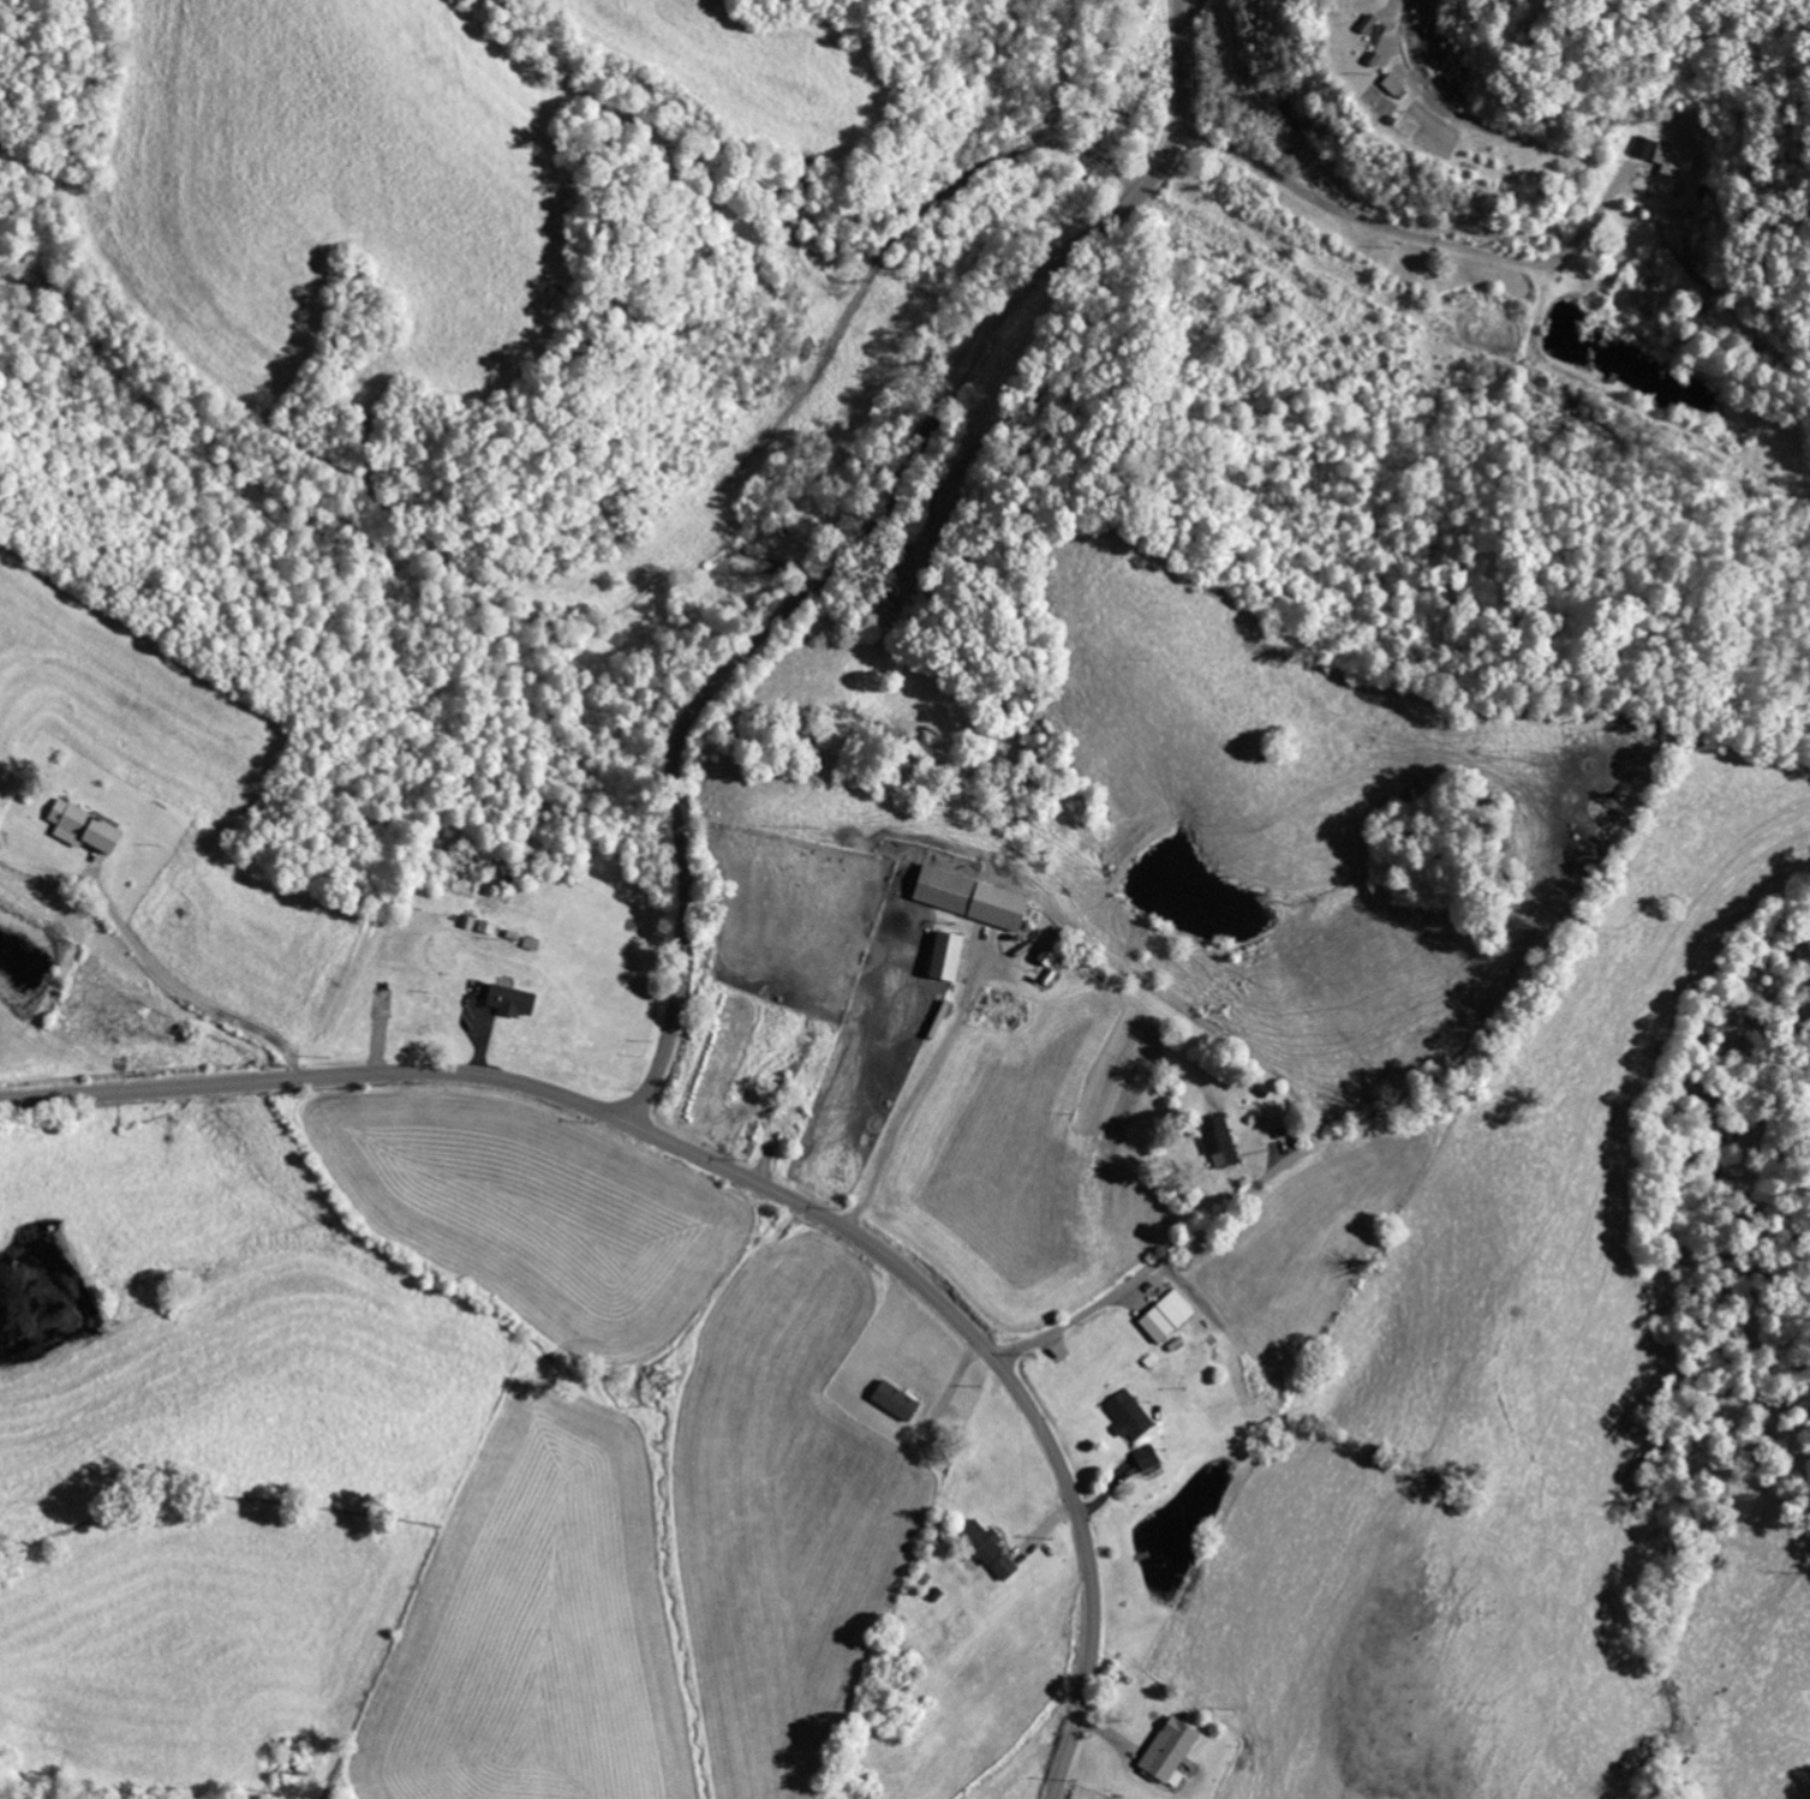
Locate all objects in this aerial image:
building: (1643, 147)
road: (867, 545)
building: (78, 826)
building: (966, 896)
building: (942, 955)
building: (509, 999)
building: (937, 1018)
building: (1215, 1140)
road: (751, 1179)
road: (1166, 1254)
building: (1166, 1315)
building: (891, 1399)
building: (1128, 1415)
building: (1145, 1457)
building: (986, 1548)
building: (1167, 1751)

